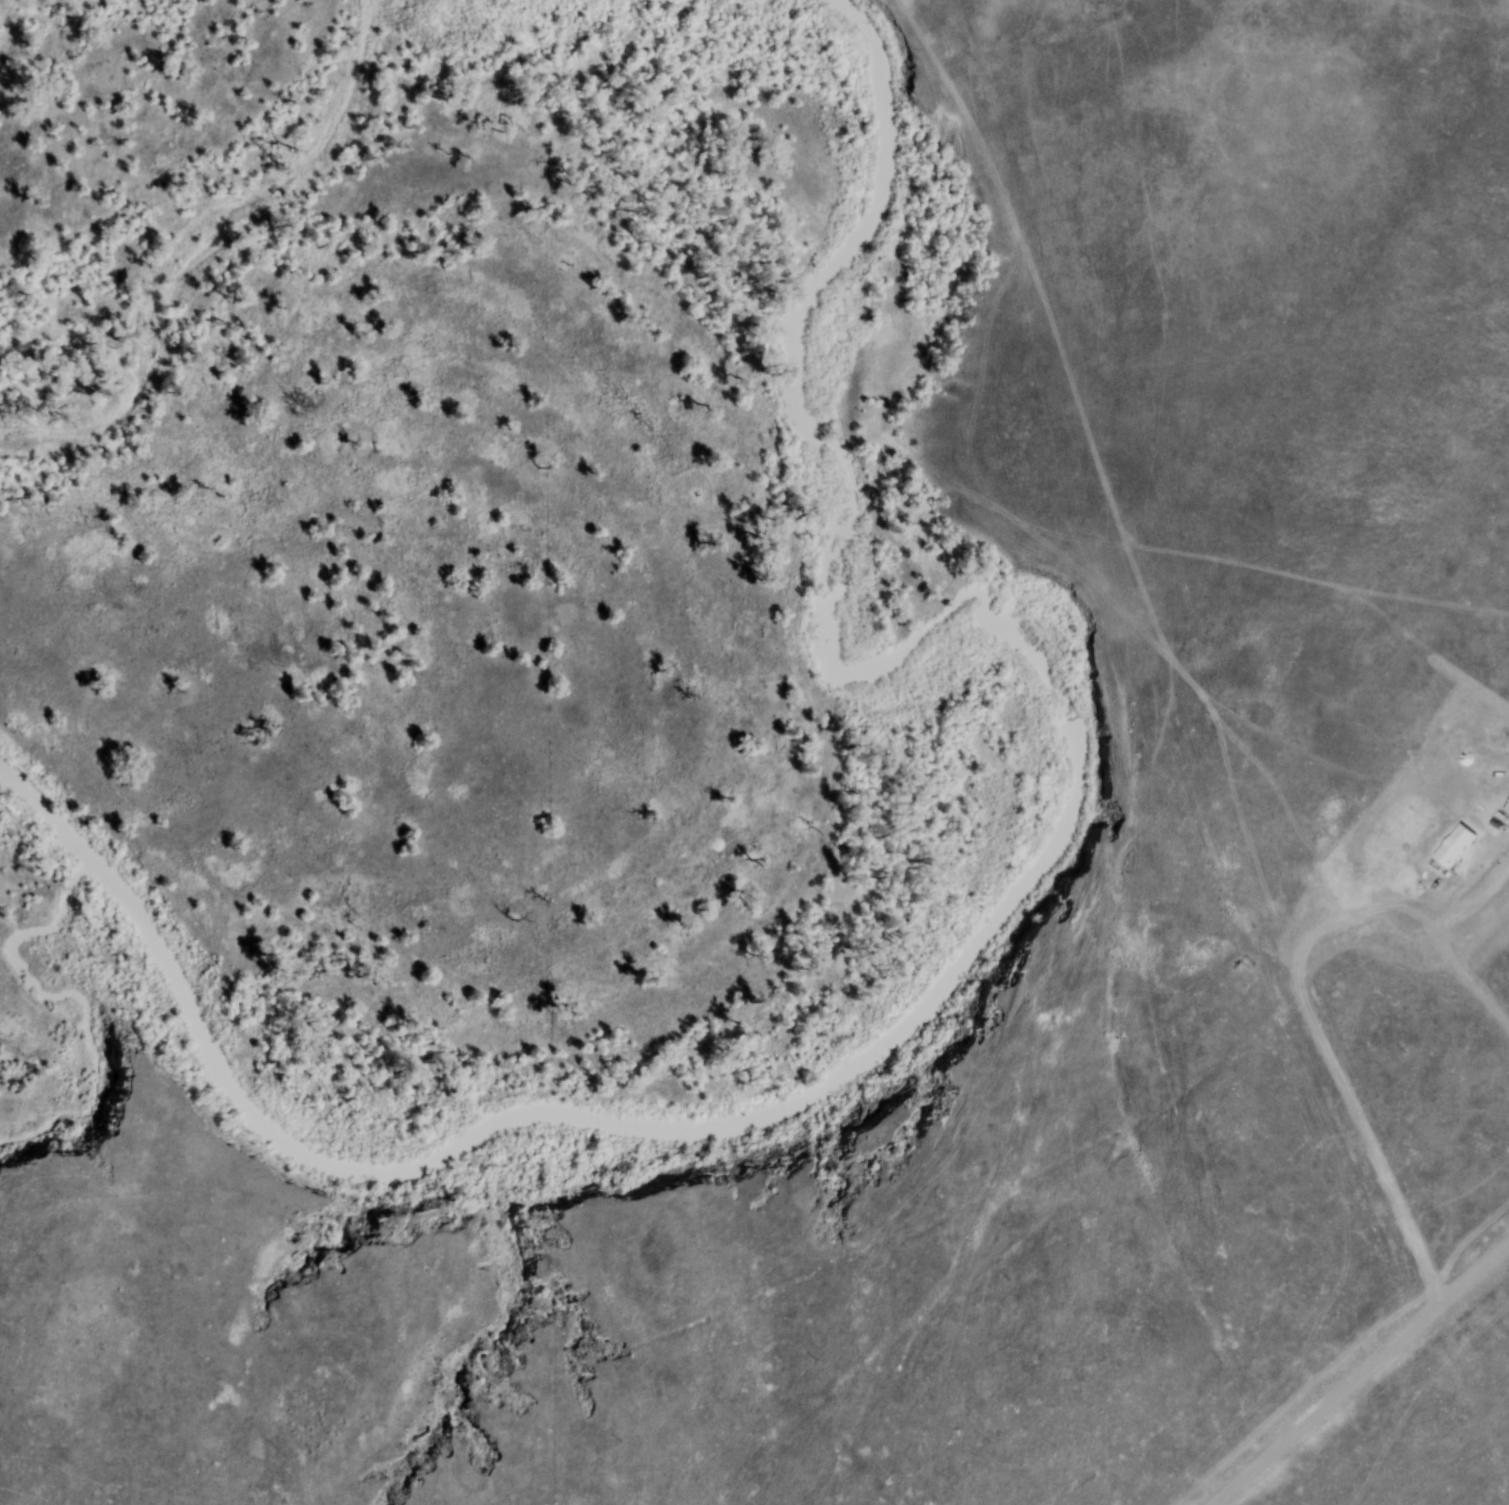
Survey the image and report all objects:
building: (1494, 792)
building: (1456, 844)
river: (1007, 903)
road: (1307, 1314)

